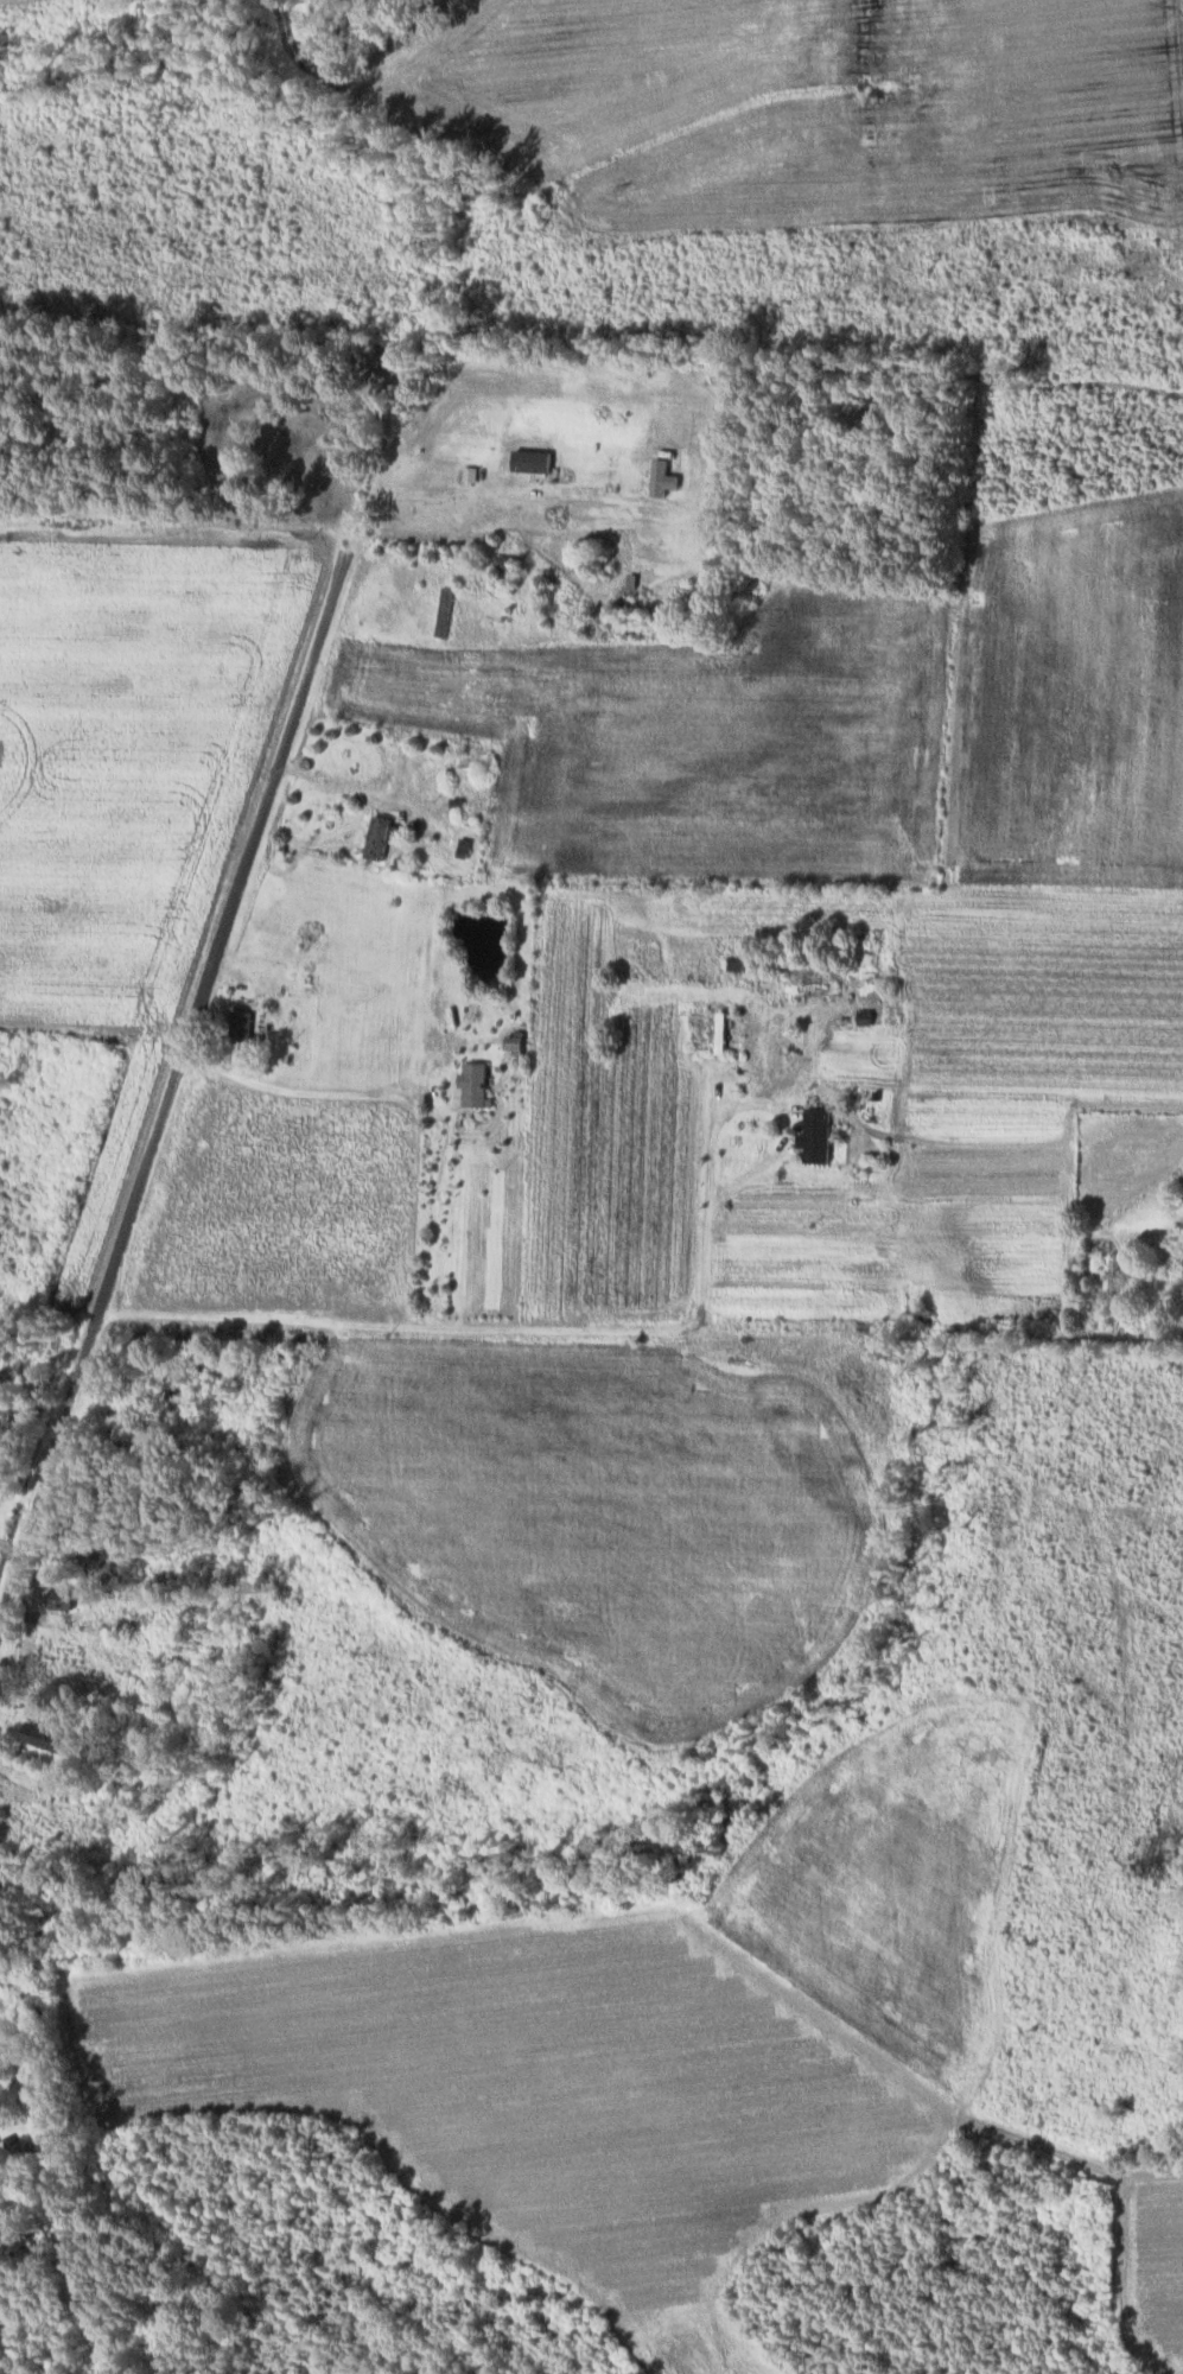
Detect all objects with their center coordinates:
building: (536, 459)
building: (472, 472)
building: (666, 477)
building: (447, 610)
building: (381, 836)
building: (869, 1015)
building: (246, 1021)
building: (519, 1041)
road: (178, 1067)
building: (478, 1081)
road: (295, 1090)
building: (820, 1132)
road: (600, 1331)
building: (65, 1597)
building: (50, 1735)

